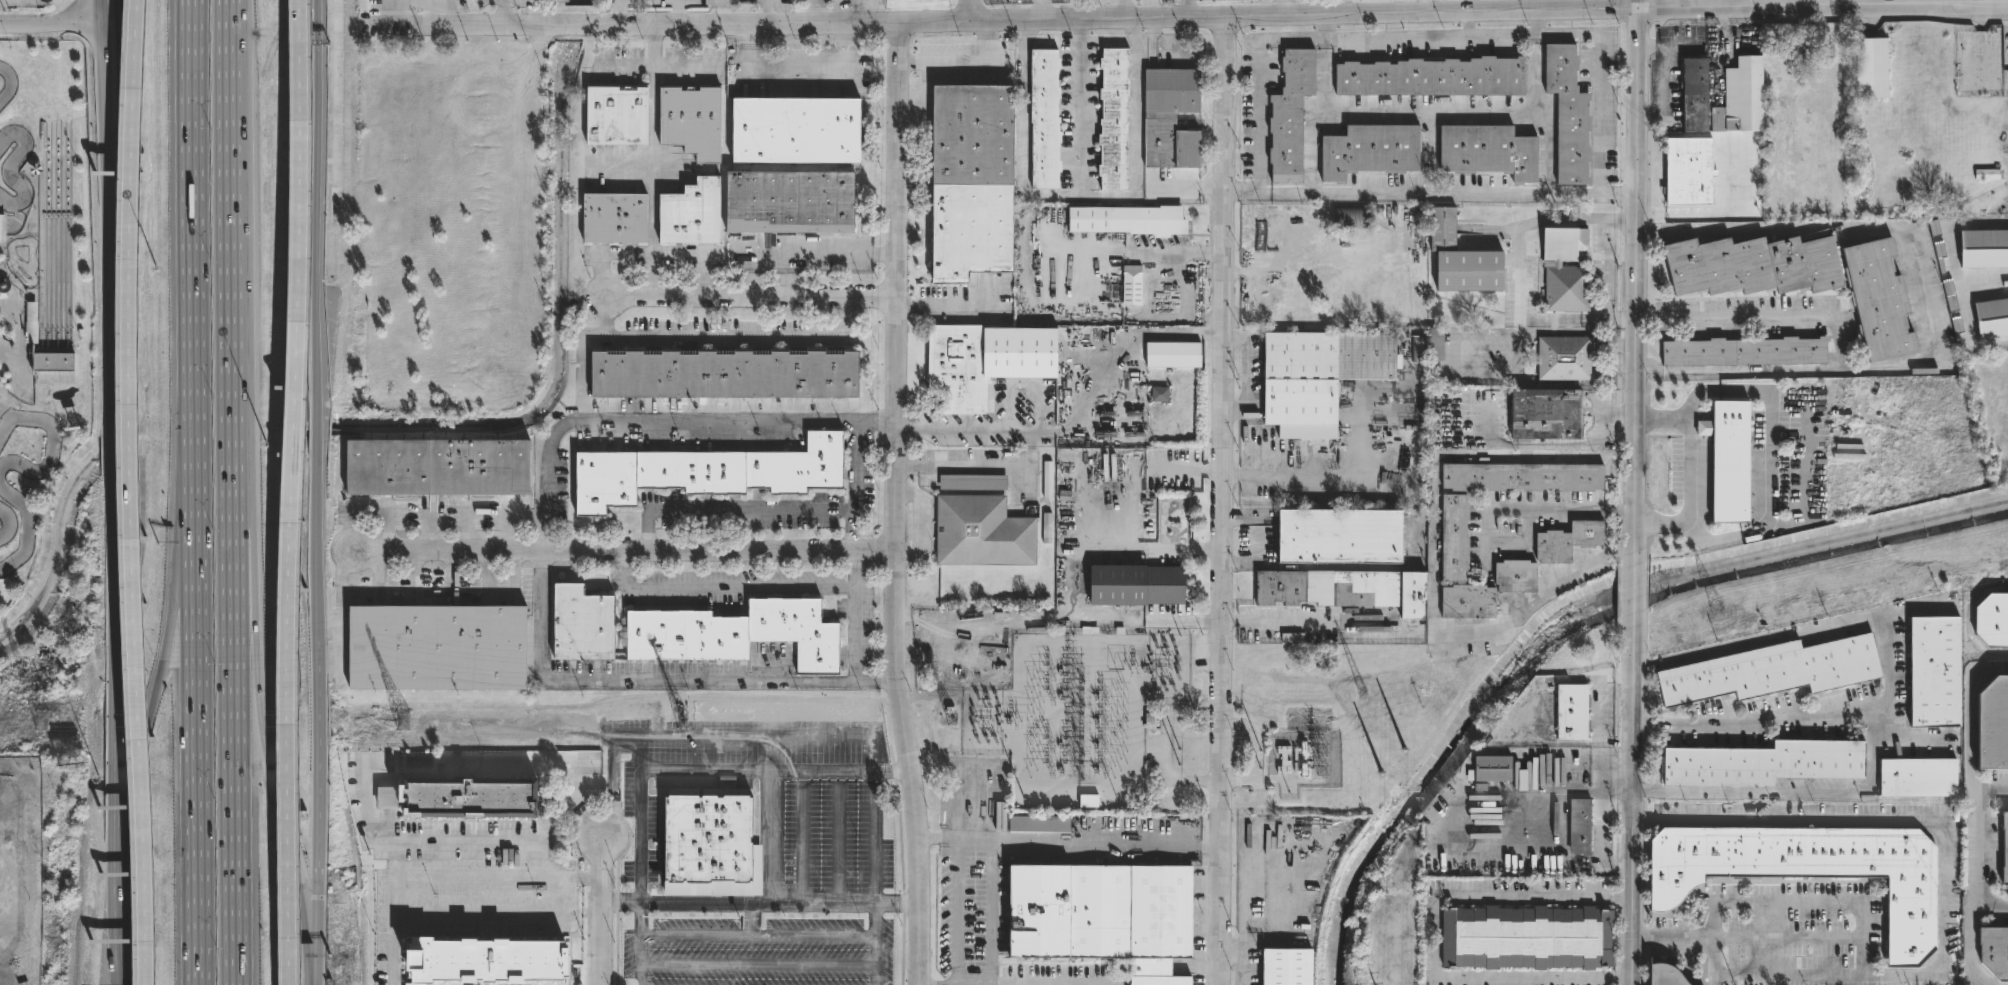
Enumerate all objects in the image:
road: (17, 0)
road: (720, 0)
road: (1816, 2)
road: (1719, 3)
road: (1823, 4)
road: (1284, 6)
road: (99, 7)
road: (1122, 7)
road: (1185, 7)
road: (972, 8)
road: (721, 10)
road: (815, 10)
road: (617, 11)
road: (678, 11)
road: (501, 12)
road: (539, 12)
road: (1305, 12)
road: (785, 20)
road: (578, 23)
road: (460, 24)
road: (50, 25)
road: (1475, 26)
road: (1439, 42)
toll booth: (316, 45)
road: (1170, 58)
road: (969, 64)
road: (624, 65)
building: (1871, 67)
road: (795, 74)
building: (1431, 78)
raceway: (10, 84)
road: (124, 85)
building: (1691, 95)
building: (1739, 97)
road: (1432, 109)
building: (1567, 113)
building: (1289, 116)
building: (616, 117)
building: (1171, 119)
building: (1044, 120)
building: (1112, 120)
building: (691, 122)
building: (797, 131)
road: (1022, 132)
road: (104, 134)
building: (1489, 150)
building: (1367, 151)
road: (652, 158)
raceway: (9, 168)
building: (1686, 170)
road: (315, 174)
building: (1987, 176)
building: (970, 182)
road: (1252, 193)
road: (1425, 193)
road: (1604, 193)
road: (1106, 199)
building: (790, 203)
road: (117, 213)
building: (690, 214)
building: (1353, 218)
building: (614, 219)
building: (1127, 222)
building: (4, 228)
road: (1878, 229)
building: (1564, 244)
building: (1982, 248)
road: (1133, 251)
road: (820, 253)
building: (1460, 258)
building: (1752, 267)
road: (1519, 269)
road: (1636, 282)
theme park: (39, 283)
building: (8, 285)
building: (1134, 285)
building: (1561, 290)
road: (752, 297)
building: (1879, 300)
road: (195, 304)
road: (945, 304)
building: (1990, 318)
road: (726, 336)
road: (1213, 336)
building: (1433, 345)
road: (1841, 349)
building: (1743, 353)
road: (1118, 357)
building: (1562, 359)
building: (58, 362)
building: (981, 364)
building: (1318, 373)
building: (724, 375)
road: (1250, 375)
road: (897, 380)
building: (1160, 397)
building: (1547, 414)
road: (314, 418)
road: (664, 421)
road: (975, 429)
road: (1069, 429)
building: (1307, 433)
raceway: (52, 442)
road: (1771, 456)
road: (1364, 459)
building: (1729, 462)
road: (854, 464)
road: (973, 466)
building: (438, 468)
road: (1687, 471)
building: (709, 473)
building: (1523, 477)
building: (1046, 480)
road: (132, 492)
road: (232, 492)
road: (294, 492)
road: (1223, 499)
road: (749, 507)
road: (1511, 511)
raceway: (8, 523)
building: (980, 525)
raceway: (27, 528)
road: (929, 528)
building: (1338, 537)
building: (1451, 538)
road: (1071, 541)
building: (1568, 541)
road: (621, 550)
road: (314, 564)
road: (112, 565)
building: (1514, 576)
building: (1136, 587)
road: (741, 589)
building: (1342, 590)
road: (1635, 590)
road: (244, 595)
building: (1466, 602)
road: (1537, 603)
power tower: (1716, 613)
building: (1990, 622)
road: (1321, 623)
building: (583, 624)
building: (737, 633)
road: (858, 635)
building: (437, 647)
road: (175, 653)
road: (1886, 661)
building: (1770, 671)
building: (1934, 673)
road: (654, 678)
power tower: (1362, 693)
building: (1568, 713)
power substation: (1076, 718)
power tower: (62, 723)
power tower: (361, 723)
power tower: (657, 723)
power tower: (952, 723)
building: (1994, 727)
road: (759, 735)
road: (1970, 735)
road: (141, 747)
road: (265, 750)
road: (891, 755)
road: (911, 757)
power substation: (1303, 759)
road: (559, 761)
building: (1763, 765)
building: (1489, 769)
road: (317, 771)
road: (705, 771)
road: (842, 772)
road: (894, 772)
building: (1918, 778)
building: (1000, 783)
road: (1791, 793)
road: (1618, 796)
road: (196, 797)
building: (459, 799)
road: (1631, 800)
road: (640, 801)
road: (614, 813)
building: (1037, 825)
building: (1577, 825)
road: (900, 836)
road: (124, 837)
road: (771, 837)
building: (708, 838)
road: (928, 840)
road: (945, 840)
road: (450, 841)
road: (573, 842)
road: (1082, 842)
road: (1602, 842)
road: (1188, 845)
road: (1213, 845)
building: (2003, 848)
road: (583, 858)
building: (1809, 871)
road: (617, 875)
road: (444, 877)
road: (588, 877)
road: (307, 878)
road: (919, 878)
road: (1943, 885)
road: (991, 892)
road: (1972, 893)
road: (1621, 899)
road: (617, 901)
road: (619, 902)
road: (695, 902)
road: (761, 903)
road: (824, 903)
road: (898, 903)
road: (903, 903)
road: (1990, 907)
road: (495, 911)
road: (599, 912)
road: (959, 913)
building: (1102, 914)
road: (640, 918)
road: (751, 919)
road: (119, 930)
road: (588, 935)
road: (671, 935)
road: (814, 935)
road: (1432, 935)
building: (1524, 936)
road: (1690, 937)
road: (1786, 937)
road: (316, 943)
road: (876, 943)
road: (617, 948)
road: (902, 949)
building: (1993, 950)
building: (483, 959)
road: (758, 965)
building: (1284, 966)
building: (1665, 974)
road: (1769, 975)
road: (1620, 978)
road: (1714, 980)

